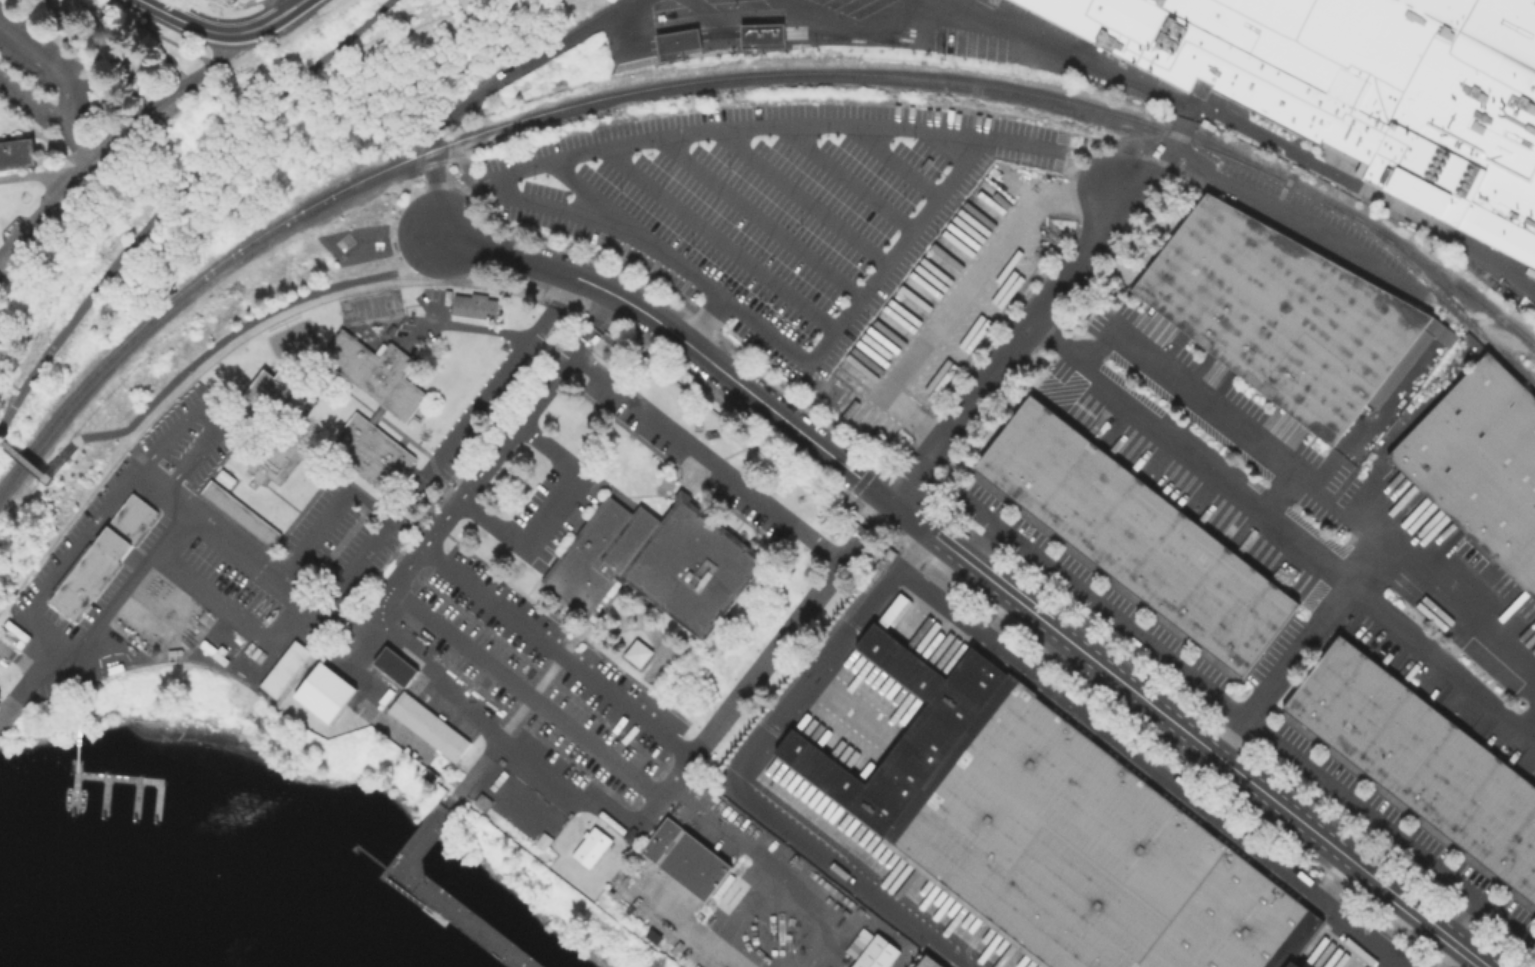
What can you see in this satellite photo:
road: (159, 4)
road: (181, 19)
road: (264, 22)
building: (761, 35)
building: (675, 42)
road: (543, 54)
road: (217, 57)
railway: (735, 76)
building: (1362, 87)
road: (66, 94)
road: (1190, 113)
road: (813, 125)
road: (1247, 130)
road: (43, 135)
road: (75, 140)
park: (292, 150)
building: (19, 151)
road: (900, 159)
road: (93, 161)
road: (1159, 161)
road: (433, 173)
road: (39, 174)
road: (847, 175)
road: (174, 194)
road: (805, 194)
road: (761, 214)
road: (719, 237)
road: (478, 246)
building: (1529, 271)
railway: (1436, 289)
road: (961, 295)
road: (188, 296)
park: (369, 305)
road: (409, 305)
building: (473, 308)
road: (403, 310)
road: (436, 315)
building: (1280, 315)
road: (382, 316)
parking lot: (422, 320)
road: (252, 321)
road: (344, 324)
road: (465, 325)
road: (340, 326)
building: (389, 329)
park: (290, 336)
road: (1008, 346)
road: (316, 350)
road: (711, 362)
road: (336, 369)
building: (376, 371)
building: (265, 395)
road: (351, 396)
road: (1207, 404)
road: (384, 407)
road: (206, 414)
road: (626, 428)
road: (404, 435)
flagpole: (423, 435)
road: (418, 436)
road: (402, 439)
parking lot: (187, 440)
road: (417, 441)
road: (736, 450)
building: (371, 451)
road: (1184, 452)
building: (276, 455)
road: (494, 456)
parking lot: (684, 456)
road: (707, 457)
building: (1482, 465)
road: (22, 471)
road: (433, 471)
building: (224, 477)
road: (325, 478)
road: (682, 490)
road: (639, 494)
road: (281, 496)
road: (550, 510)
road: (979, 510)
parking lot: (553, 511)
building: (239, 513)
road: (330, 513)
road: (738, 514)
building: (132, 518)
road: (736, 525)
parking lot: (74, 533)
building: (1136, 535)
road: (81, 542)
building: (112, 543)
parking lot: (336, 548)
road: (912, 549)
building: (656, 561)
road: (945, 569)
road: (1348, 579)
building: (82, 580)
parking lot: (242, 582)
road: (532, 584)
parking lot: (101, 589)
road: (939, 603)
road: (317, 608)
road: (234, 612)
road: (997, 617)
road: (564, 624)
building: (17, 634)
road: (559, 650)
building: (213, 651)
building: (636, 651)
building: (173, 652)
road: (186, 658)
road: (557, 659)
building: (3, 660)
storage tank: (3, 660)
road: (34, 661)
road: (763, 662)
road: (819, 663)
building: (394, 666)
building: (115, 668)
road: (1282, 668)
building: (283, 669)
road: (90, 680)
parking lot: (536, 681)
building: (65, 684)
building: (98, 685)
building: (324, 693)
road: (526, 694)
building: (384, 695)
pier: (7, 711)
road: (1237, 713)
building: (427, 725)
road: (79, 728)
road: (1532, 728)
road: (1189, 734)
road: (494, 735)
building: (1422, 761)
road: (471, 772)
pier: (135, 778)
pier: (74, 785)
pier: (104, 794)
pier: (135, 797)
road: (1189, 803)
road: (576, 814)
building: (611, 823)
building: (1055, 831)
building: (629, 833)
building: (542, 840)
pier: (355, 847)
building: (590, 847)
road: (374, 857)
building: (685, 858)
road: (838, 868)
road: (1330, 877)
building: (722, 886)
parking lot: (738, 892)
road: (408, 894)
pier: (450, 901)
pier: (432, 913)
road: (1501, 914)
road: (1395, 928)
building: (857, 942)
building: (875, 953)
road: (1452, 955)
building: (927, 963)

